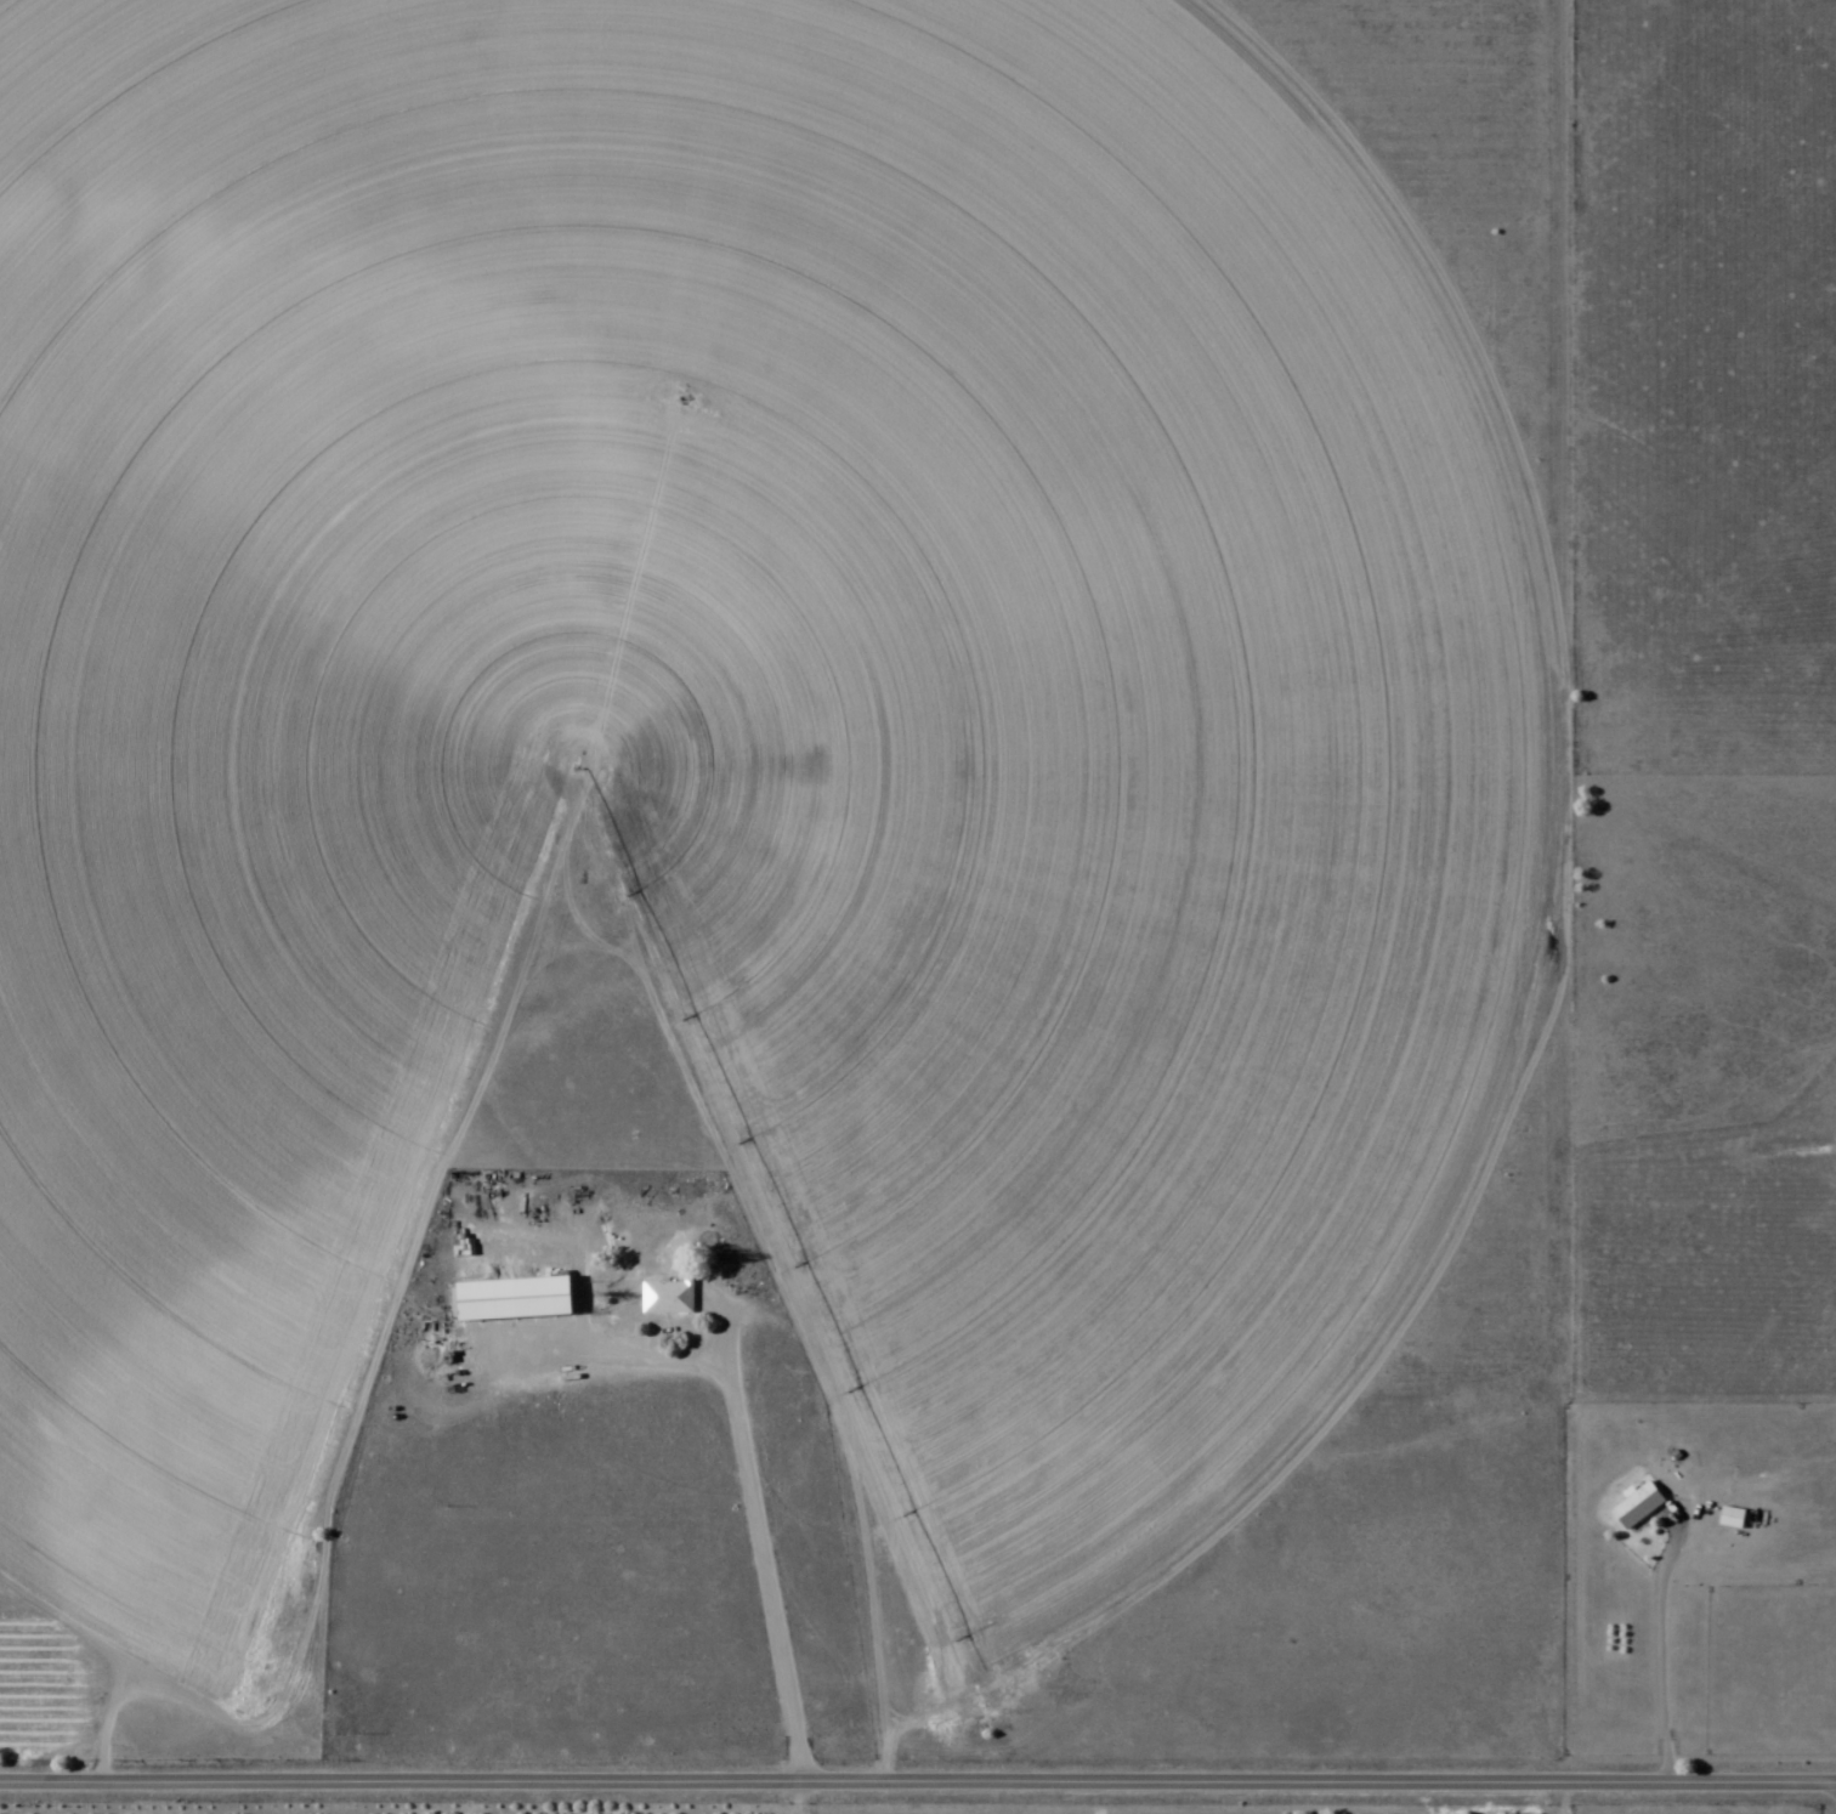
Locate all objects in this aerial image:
building: (669, 1298)
building: (521, 1300)
building: (1639, 1507)
building: (1734, 1519)
road: (918, 1780)

